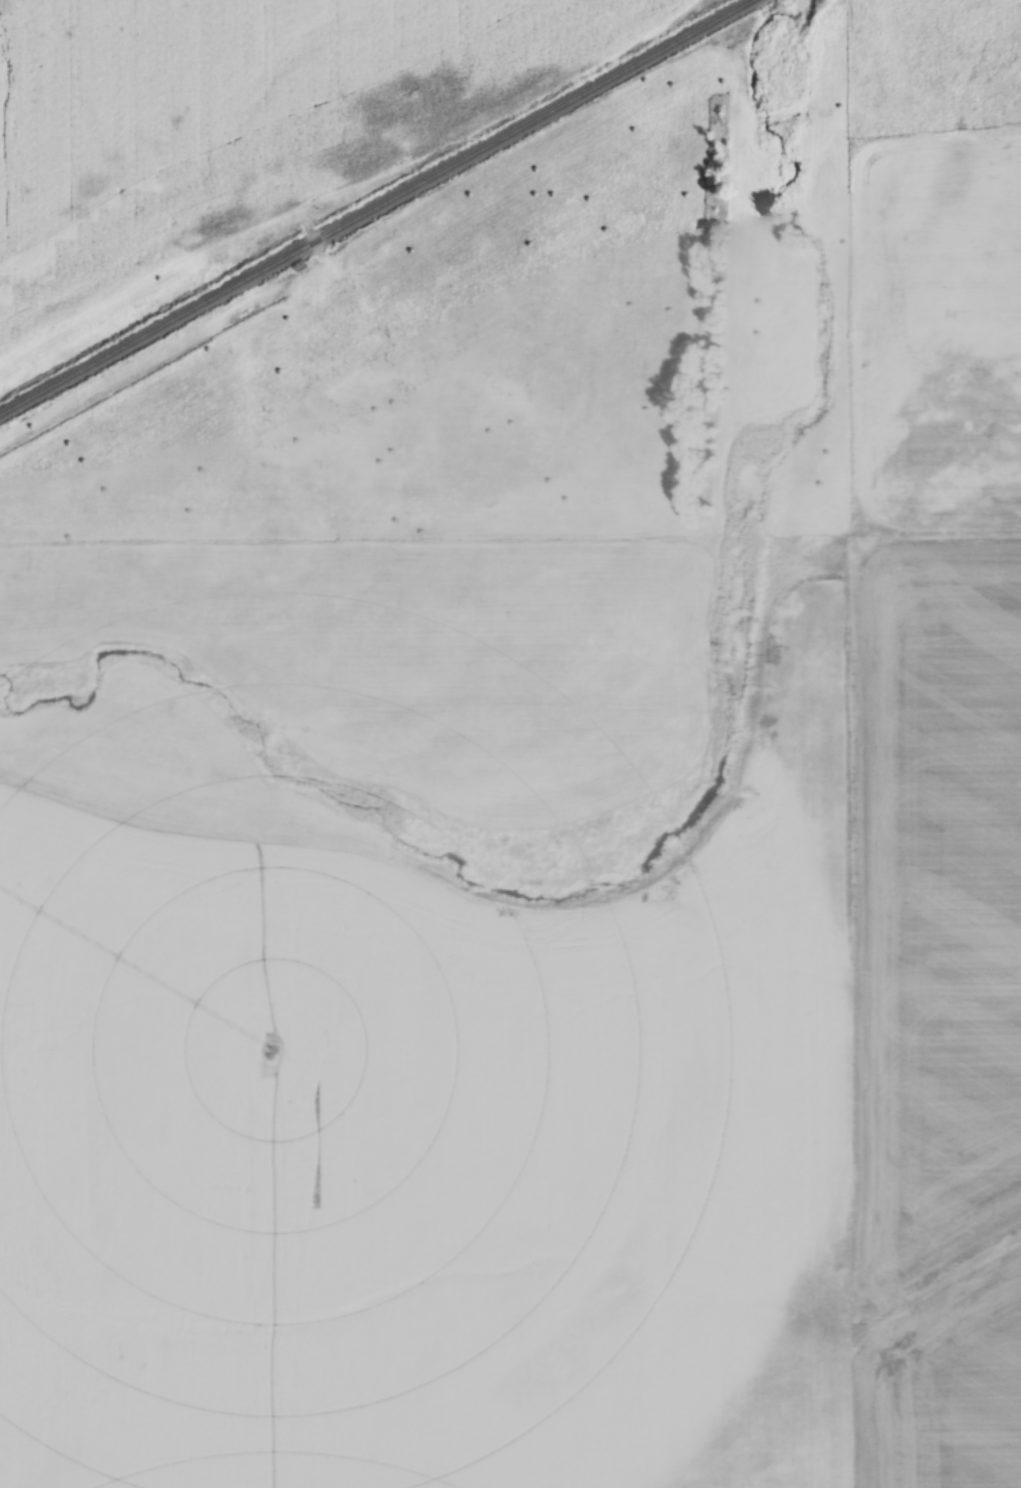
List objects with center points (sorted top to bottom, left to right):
railway: (376, 208)

